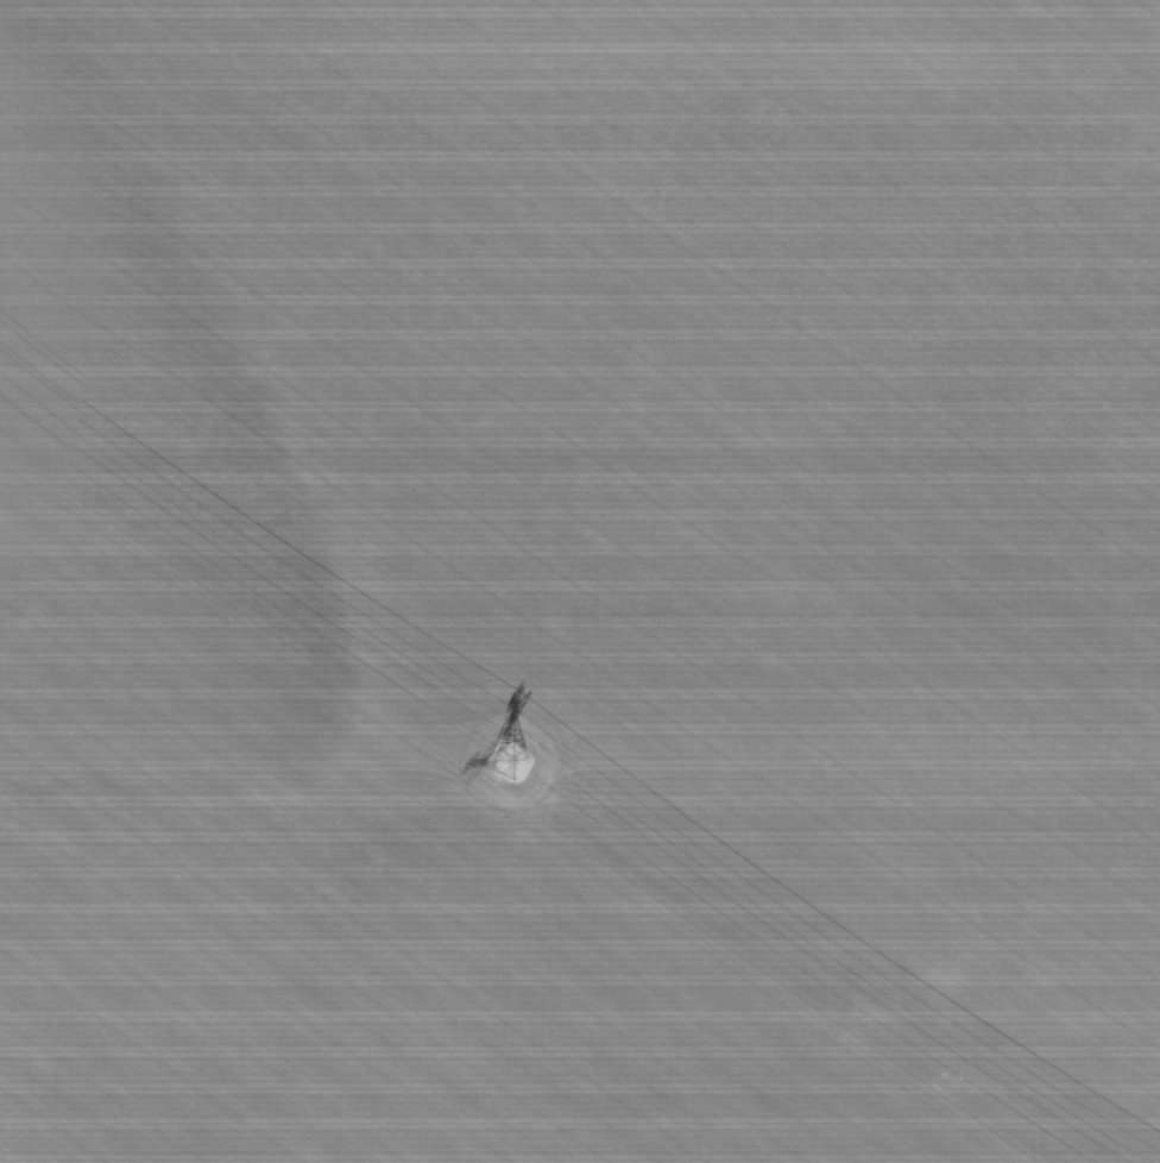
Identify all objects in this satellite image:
power tower: (510, 760)

